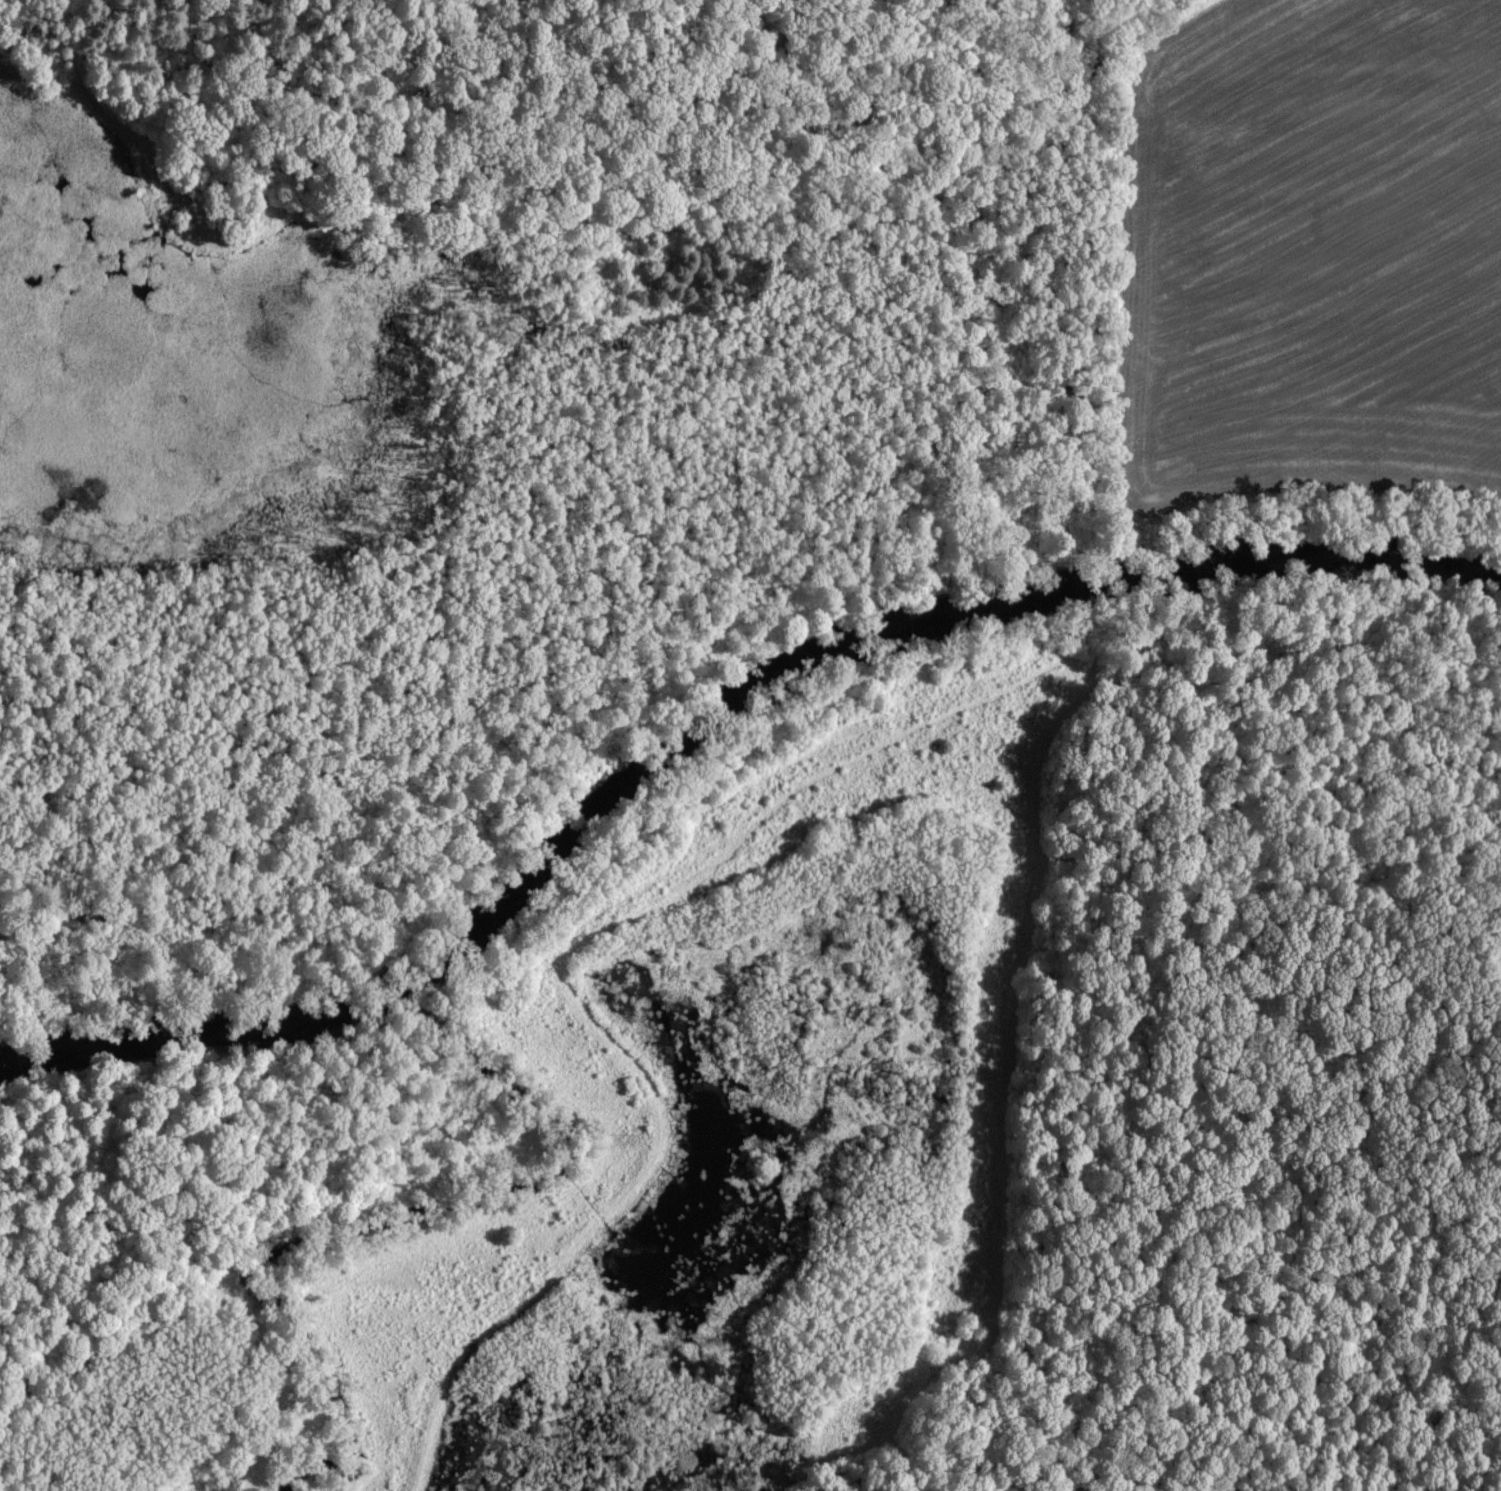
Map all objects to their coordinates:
road: (607, 273)
river: (700, 719)

